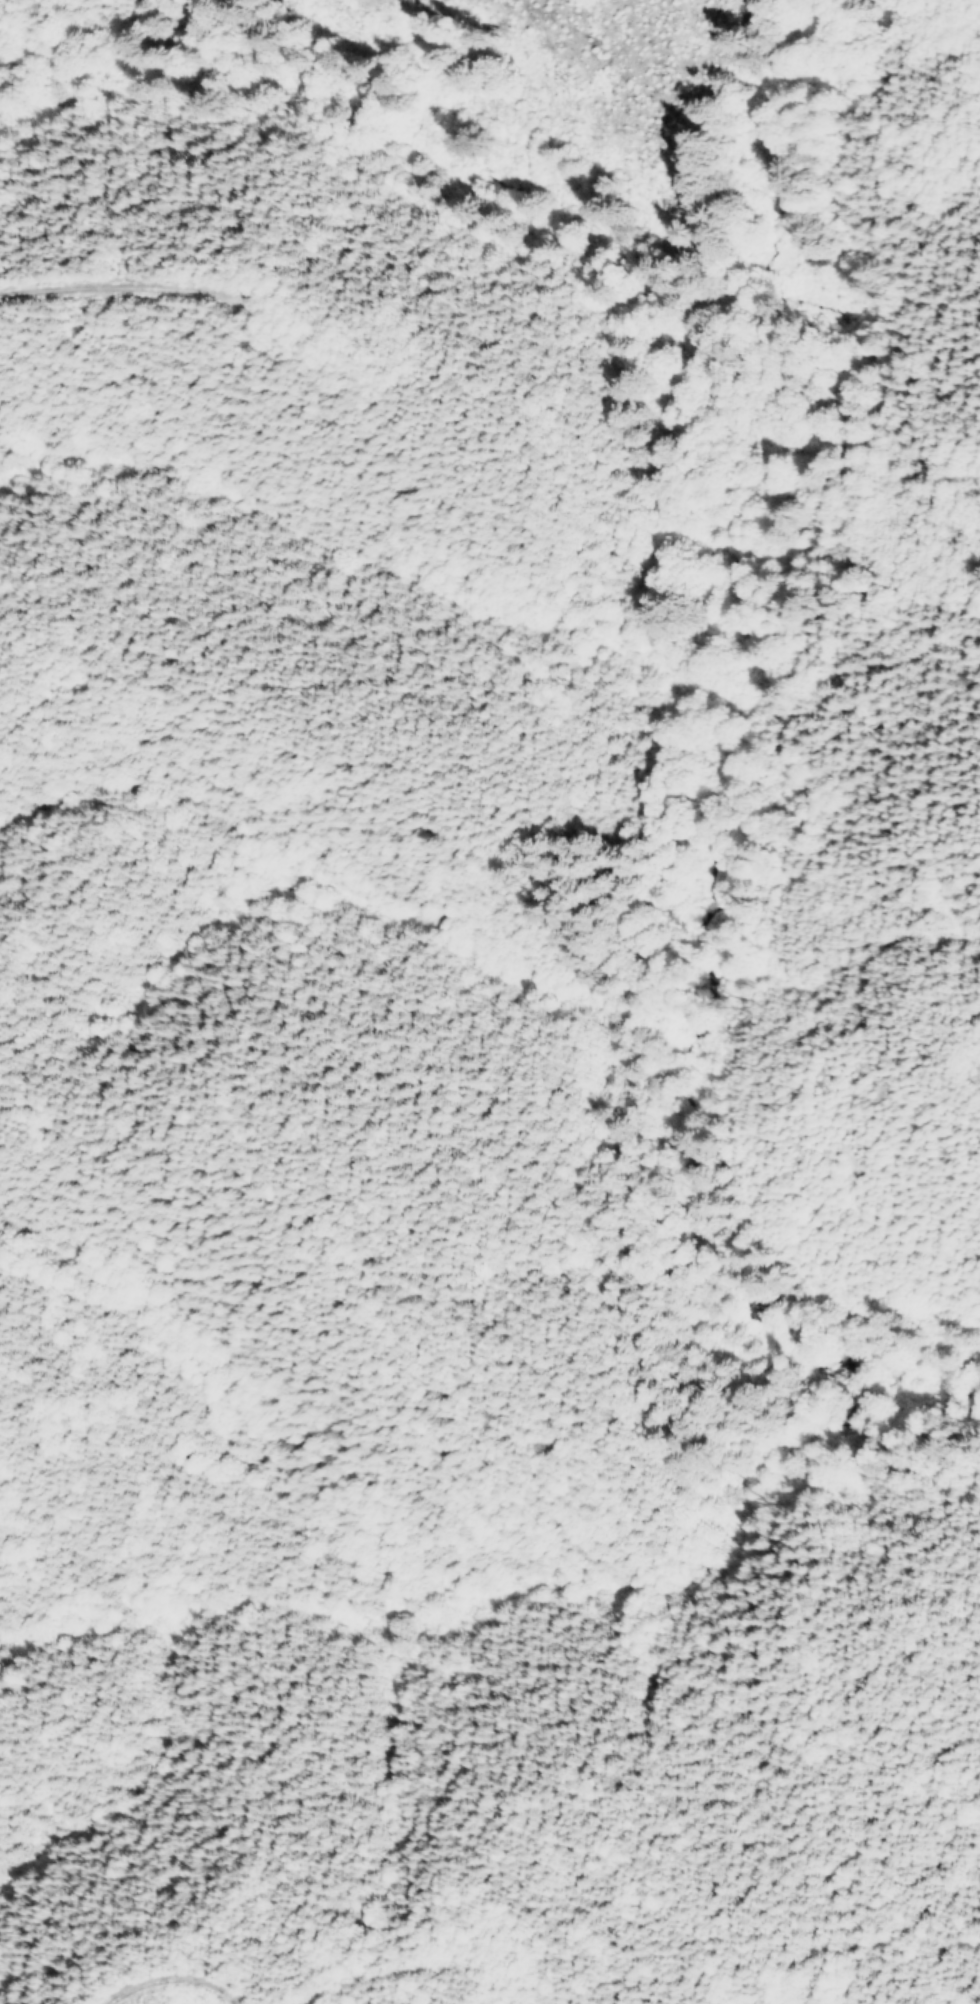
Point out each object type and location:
road: (207, 1946)

